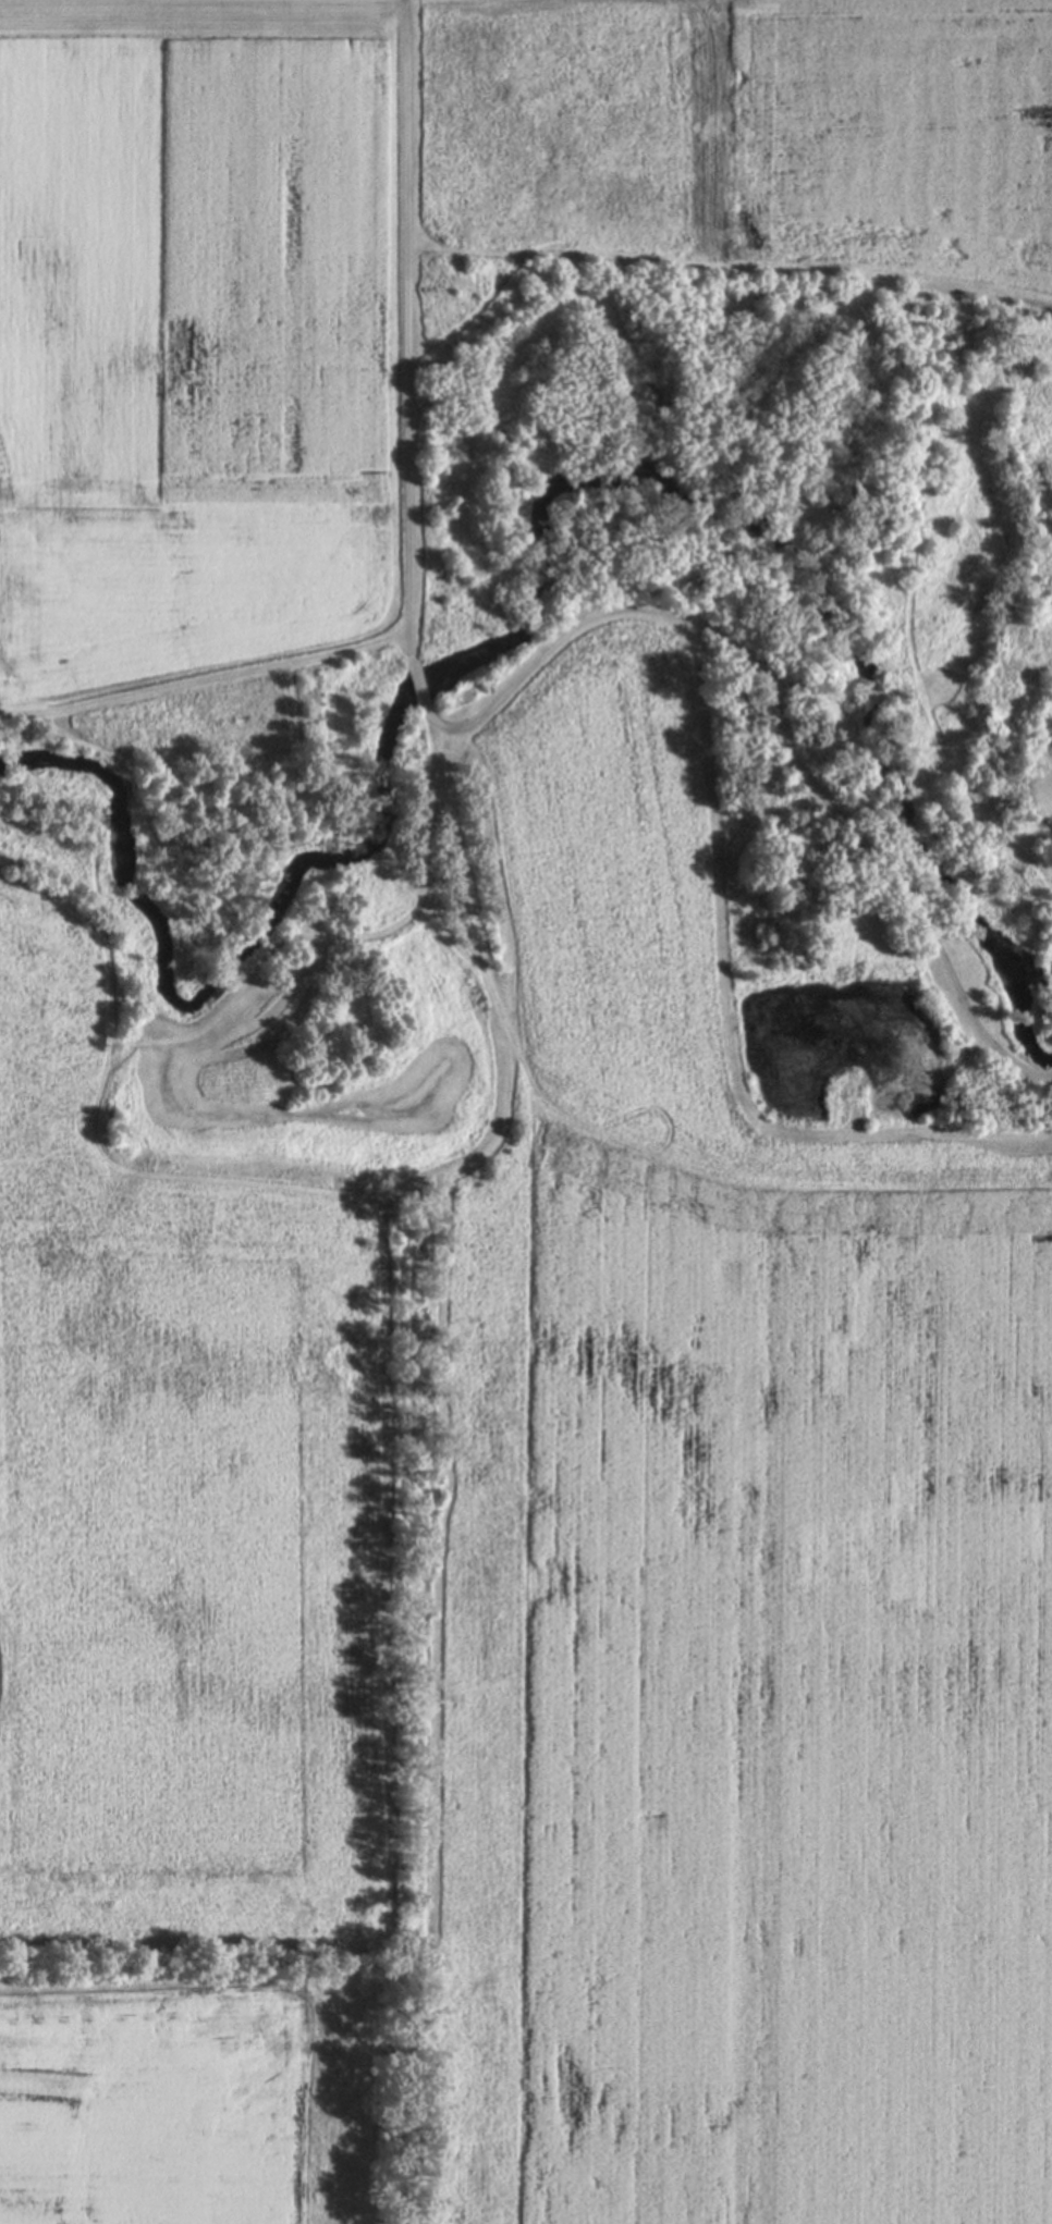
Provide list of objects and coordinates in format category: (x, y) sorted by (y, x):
road: (405, 327)
river: (530, 575)
road: (418, 684)
road: (780, 720)

